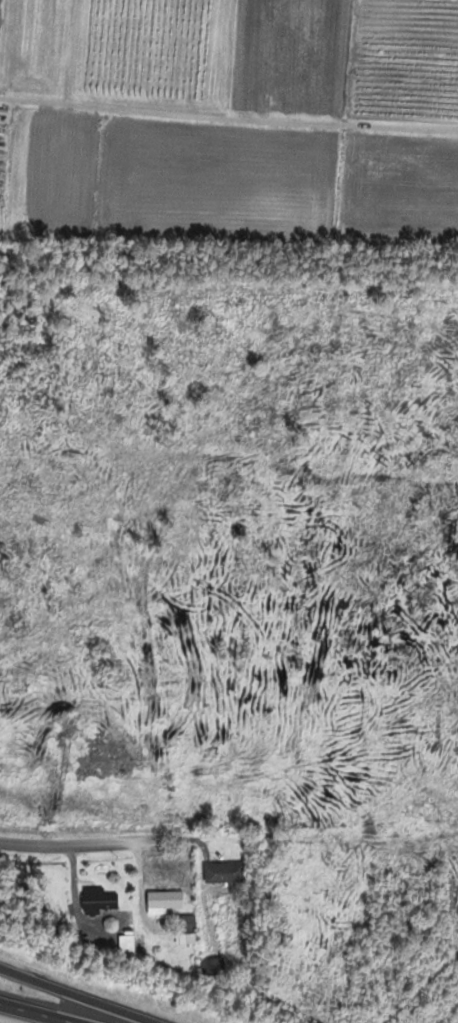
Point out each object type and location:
road: (228, 117)
road: (80, 834)
building: (229, 889)
building: (98, 899)
building: (164, 899)
building: (187, 930)
building: (209, 967)
road: (70, 996)
road: (32, 1013)

